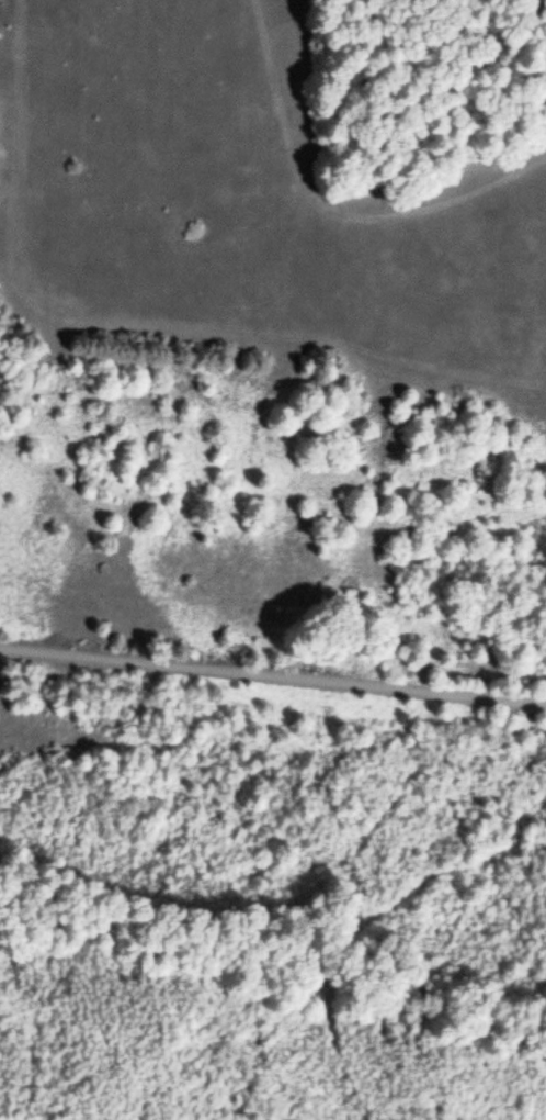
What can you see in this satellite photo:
road: (273, 669)

